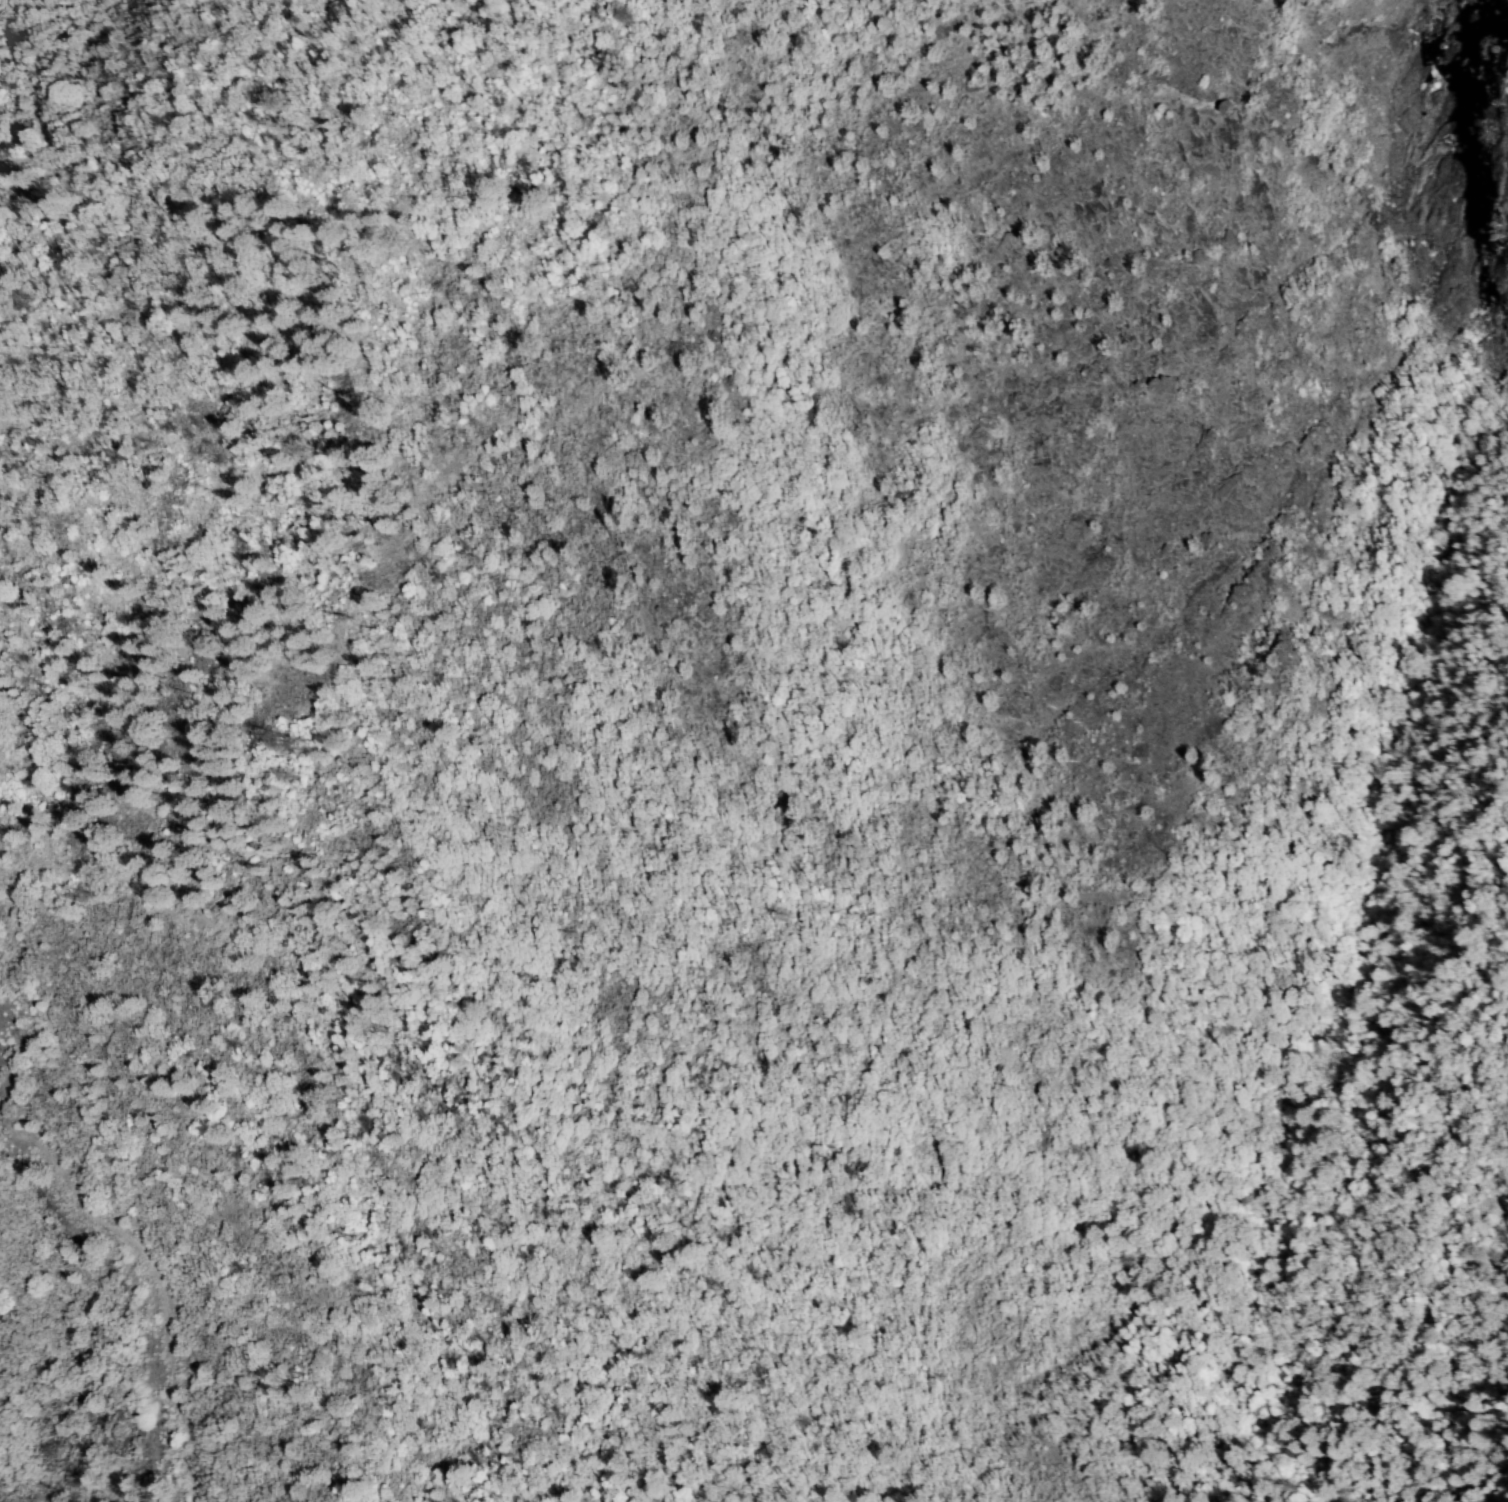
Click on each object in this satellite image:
river: (1461, 140)

